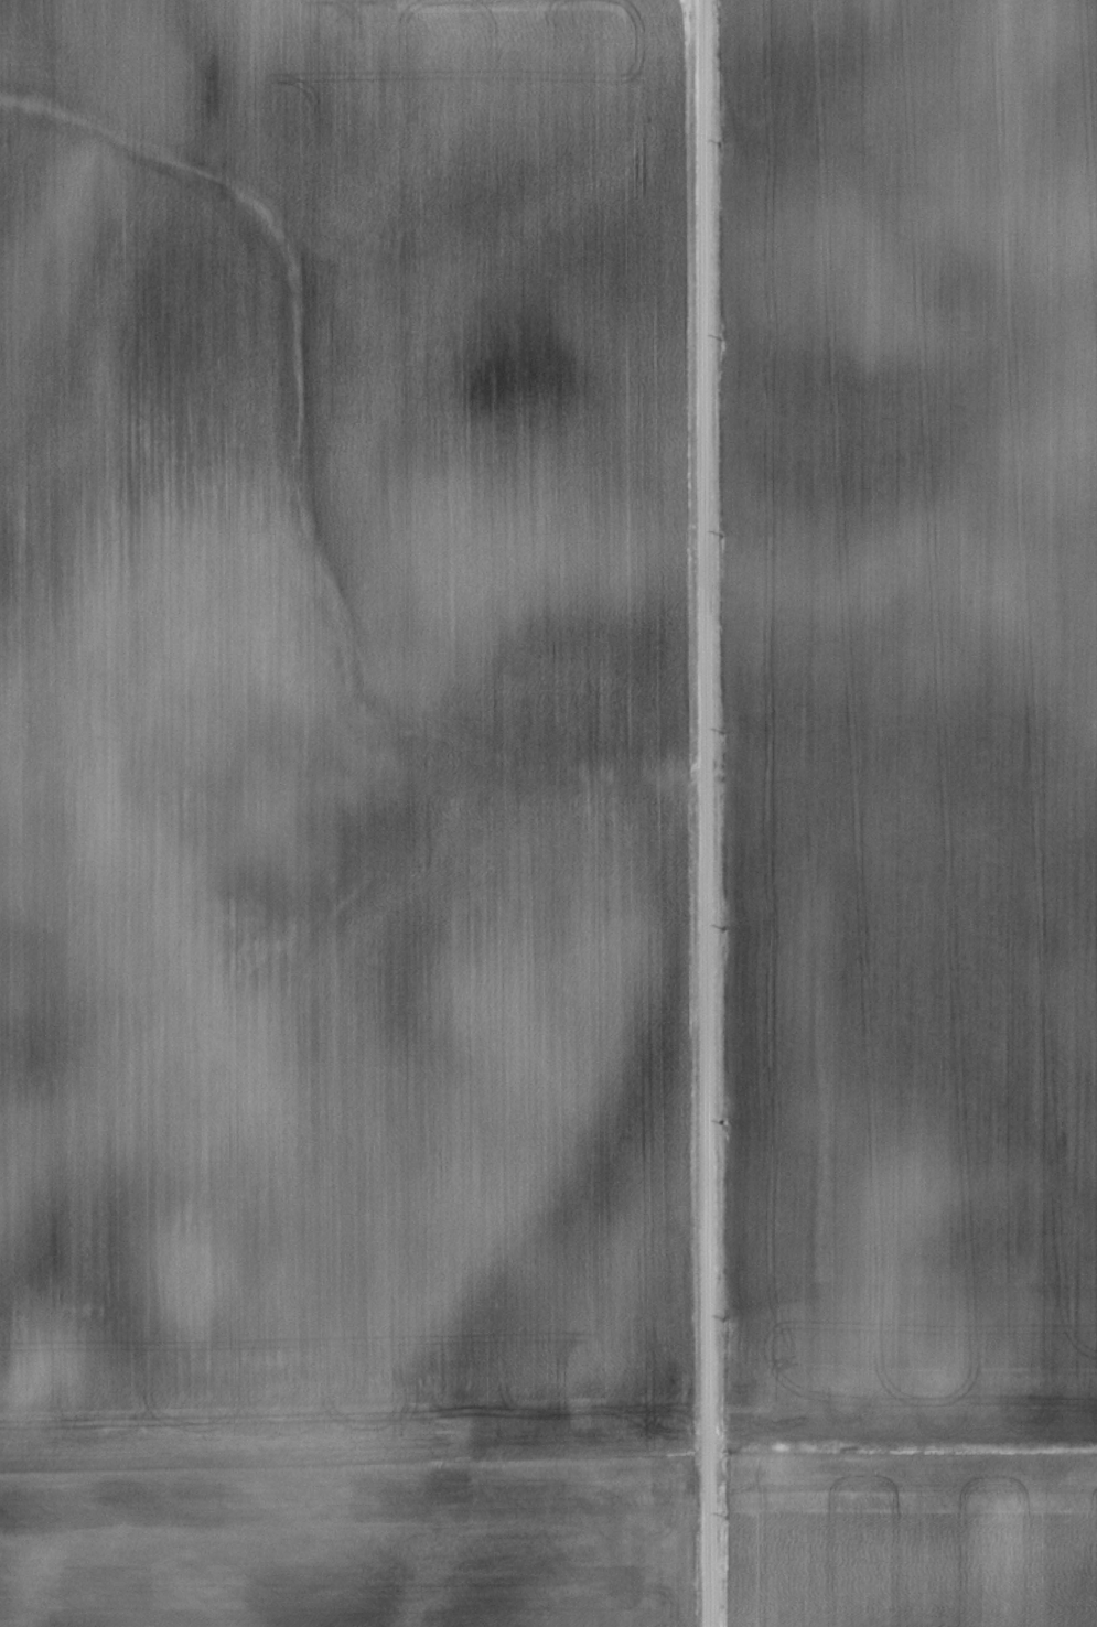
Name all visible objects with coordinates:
road: (706, 812)

